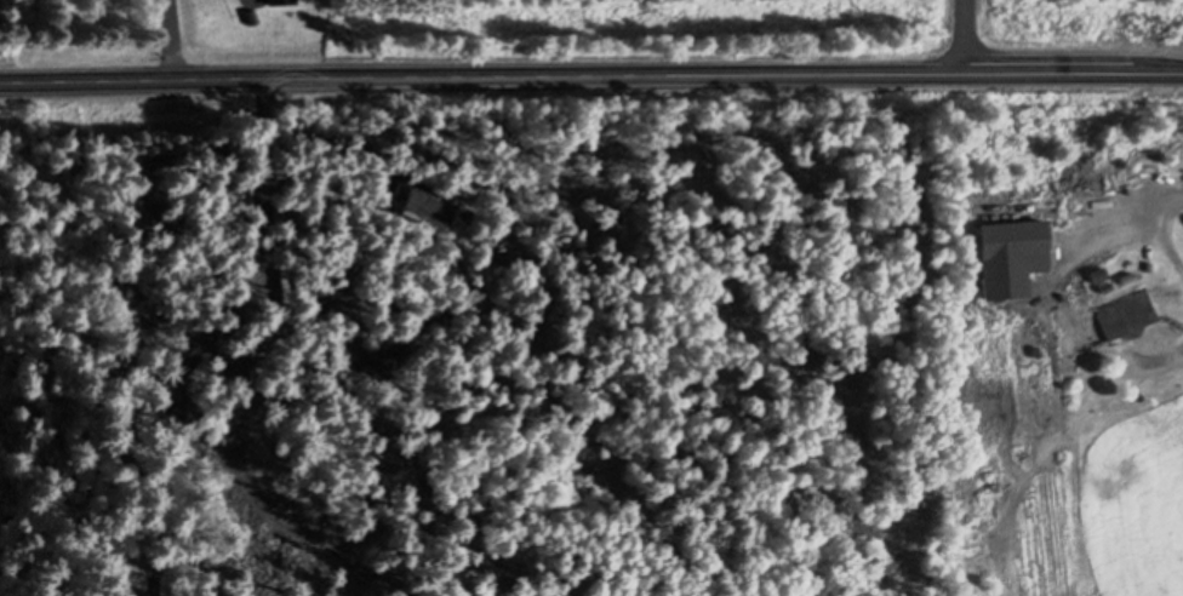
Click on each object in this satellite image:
building: (279, 2)
road: (970, 44)
road: (591, 86)
building: (422, 210)

